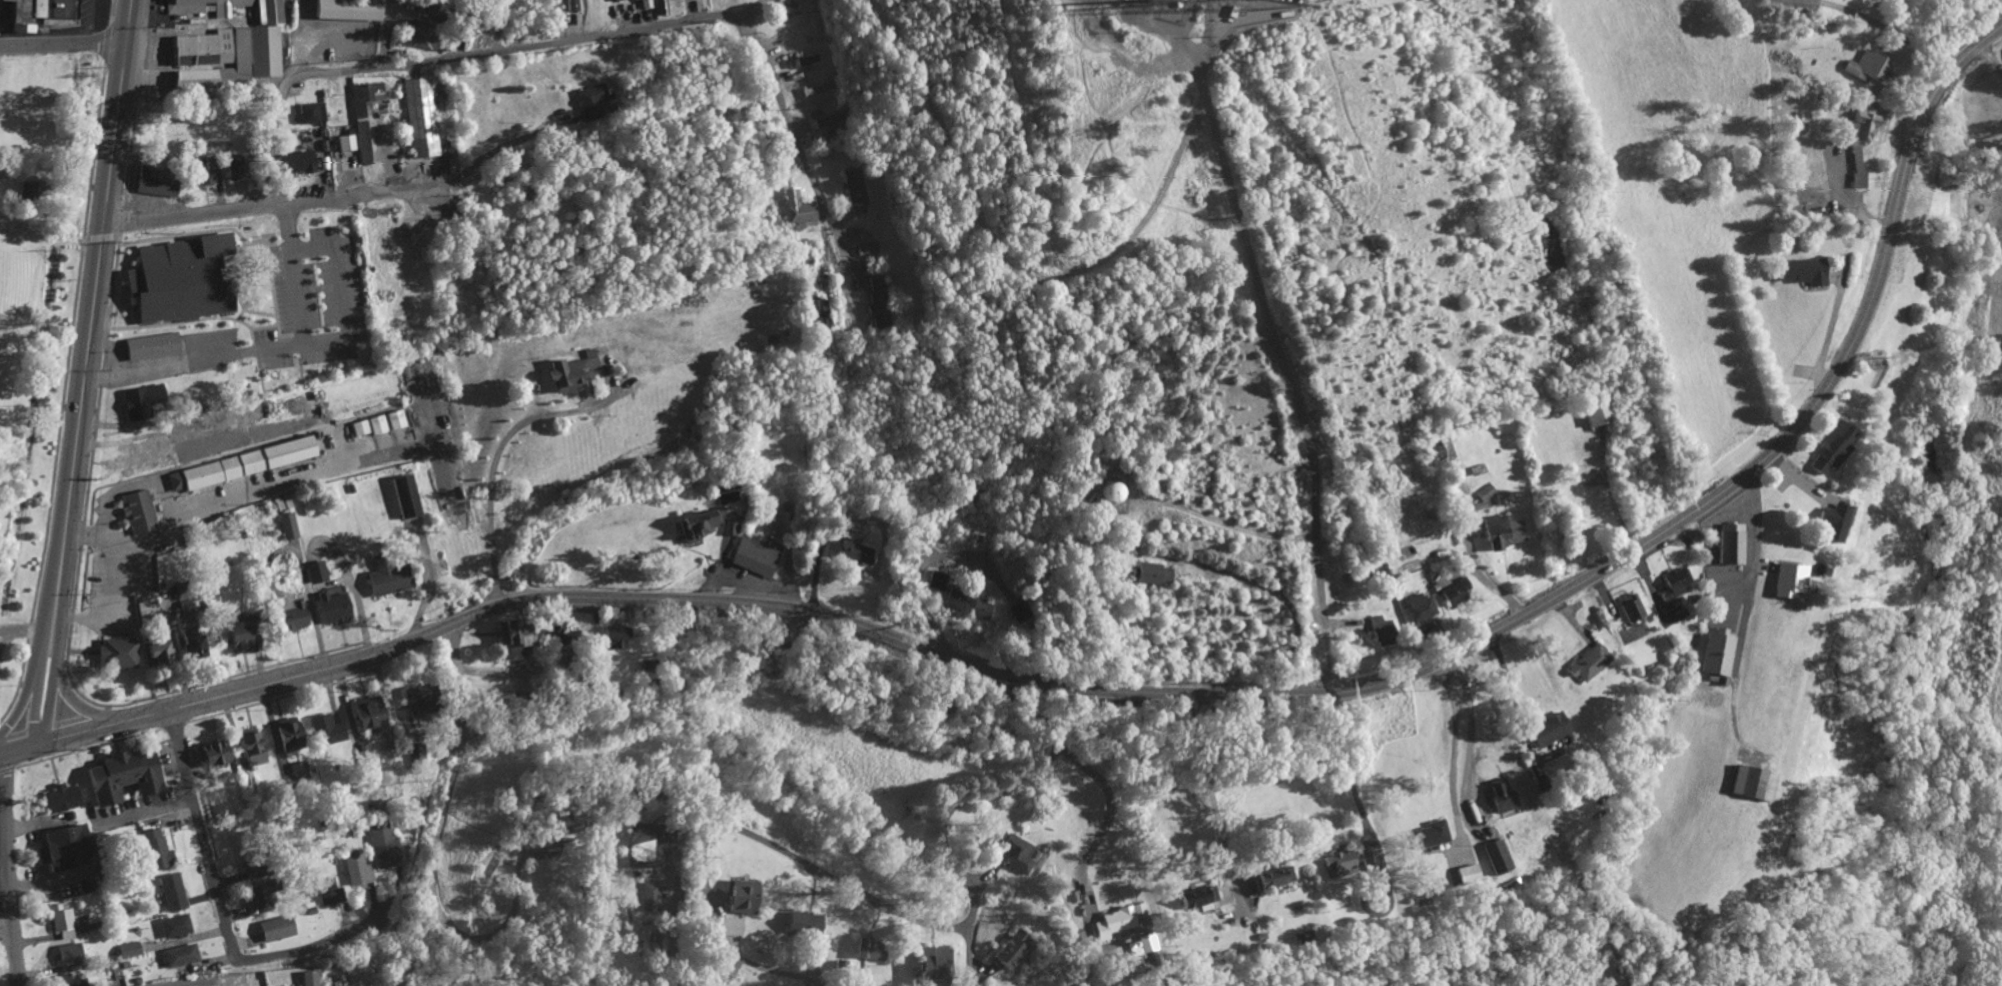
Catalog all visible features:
building: (643, 4)
building: (430, 5)
building: (571, 6)
building: (41, 10)
building: (345, 10)
building: (185, 11)
building: (495, 18)
road: (94, 23)
road: (1881, 25)
road: (387, 33)
road: (1989, 36)
building: (425, 38)
road: (558, 43)
road: (62, 46)
building: (232, 56)
road: (1990, 62)
building: (1865, 68)
building: (591, 103)
building: (310, 114)
building: (424, 115)
building: (361, 120)
building: (1862, 125)
building: (345, 144)
building: (295, 162)
building: (235, 167)
building: (1856, 168)
building: (203, 172)
building: (157, 182)
road: (281, 202)
building: (796, 210)
building: (269, 241)
building: (870, 250)
road: (1012, 252)
building: (804, 260)
building: (1802, 273)
building: (178, 281)
building: (881, 284)
building: (884, 311)
building: (822, 312)
building: (152, 347)
road: (300, 347)
road: (113, 351)
road: (1290, 370)
road: (84, 372)
building: (569, 374)
building: (141, 403)
building: (1596, 415)
building: (395, 421)
building: (369, 428)
building: (180, 431)
building: (1830, 449)
building: (149, 454)
building: (241, 466)
road: (494, 470)
road: (296, 479)
building: (1110, 494)
building: (1484, 495)
building: (405, 498)
building: (139, 511)
building: (1832, 524)
building: (288, 527)
building: (696, 527)
building: (730, 528)
building: (1501, 534)
road: (32, 540)
building: (1730, 546)
building: (855, 554)
building: (758, 558)
building: (317, 574)
building: (1148, 575)
road: (916, 578)
building: (389, 581)
road: (1751, 582)
building: (937, 583)
building: (1676, 583)
building: (1788, 583)
road: (114, 584)
building: (1454, 595)
road: (1278, 596)
building: (955, 601)
building: (333, 607)
building: (148, 608)
building: (1630, 609)
building: (1417, 610)
building: (981, 611)
building: (1678, 612)
building: (1023, 613)
road: (1746, 621)
road: (25, 623)
building: (1380, 633)
building: (236, 636)
building: (615, 638)
building: (512, 641)
building: (187, 647)
building: (154, 654)
building: (117, 655)
building: (1717, 657)
building: (1588, 665)
road: (1366, 687)
road: (245, 691)
road: (1511, 694)
road: (25, 696)
road: (73, 700)
building: (421, 703)
building: (502, 703)
building: (368, 717)
building: (326, 732)
building: (1546, 732)
road: (1471, 734)
building: (288, 735)
building: (251, 748)
road: (18, 749)
building: (213, 757)
road: (1342, 765)
building: (299, 769)
building: (123, 778)
building: (248, 782)
building: (1749, 785)
road: (1011, 789)
building: (1499, 797)
building: (61, 801)
road: (1212, 809)
road: (1106, 817)
building: (566, 827)
building: (1428, 837)
road: (759, 840)
building: (650, 845)
building: (386, 846)
building: (63, 850)
building: (157, 852)
building: (1016, 856)
building: (1495, 858)
building: (1345, 865)
road: (10, 869)
building: (360, 870)
building: (1466, 876)
building: (1274, 880)
building: (174, 894)
building: (264, 894)
building: (331, 894)
building: (650, 899)
building: (739, 899)
building: (1196, 899)
road: (224, 908)
building: (1137, 912)
building: (63, 923)
building: (801, 925)
building: (1111, 925)
building: (176, 928)
building: (726, 929)
building: (277, 931)
road: (458, 937)
building: (865, 951)
building: (1012, 952)
building: (71, 956)
building: (181, 957)
road: (424, 957)
building: (927, 964)
building: (850, 967)
road: (1087, 976)
building: (67, 978)
building: (309, 979)

